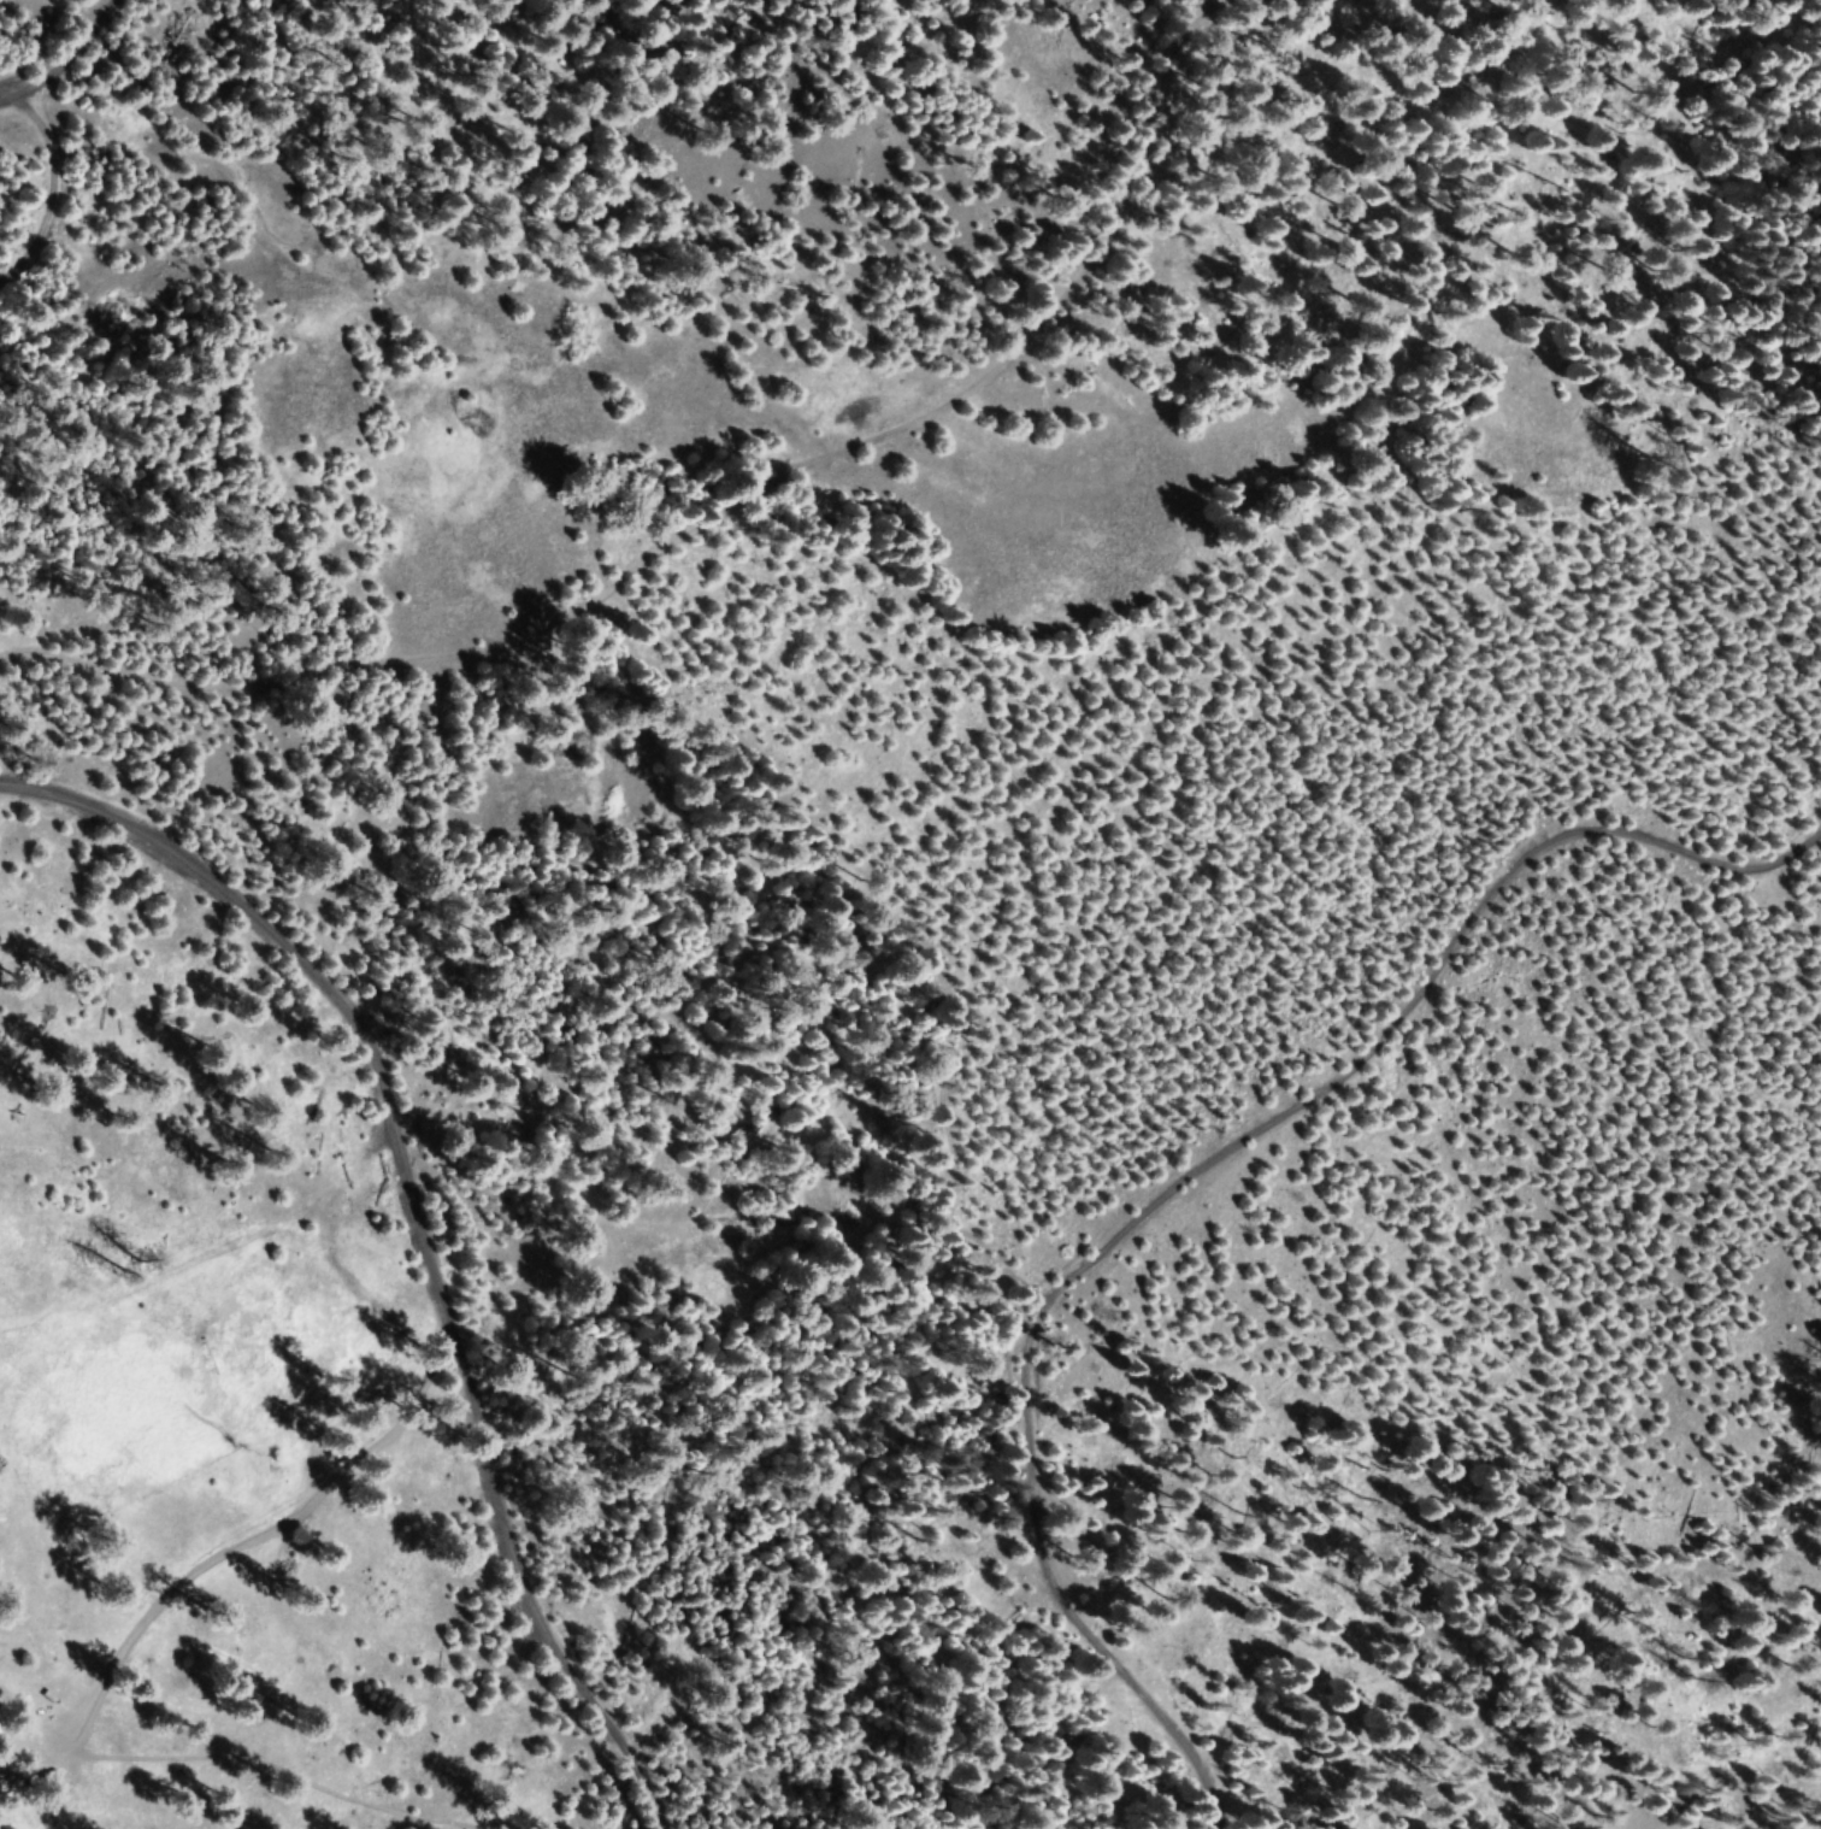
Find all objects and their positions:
road: (54, 52)
road: (709, 518)
road: (1144, 1160)
road: (422, 1229)
road: (219, 1558)

